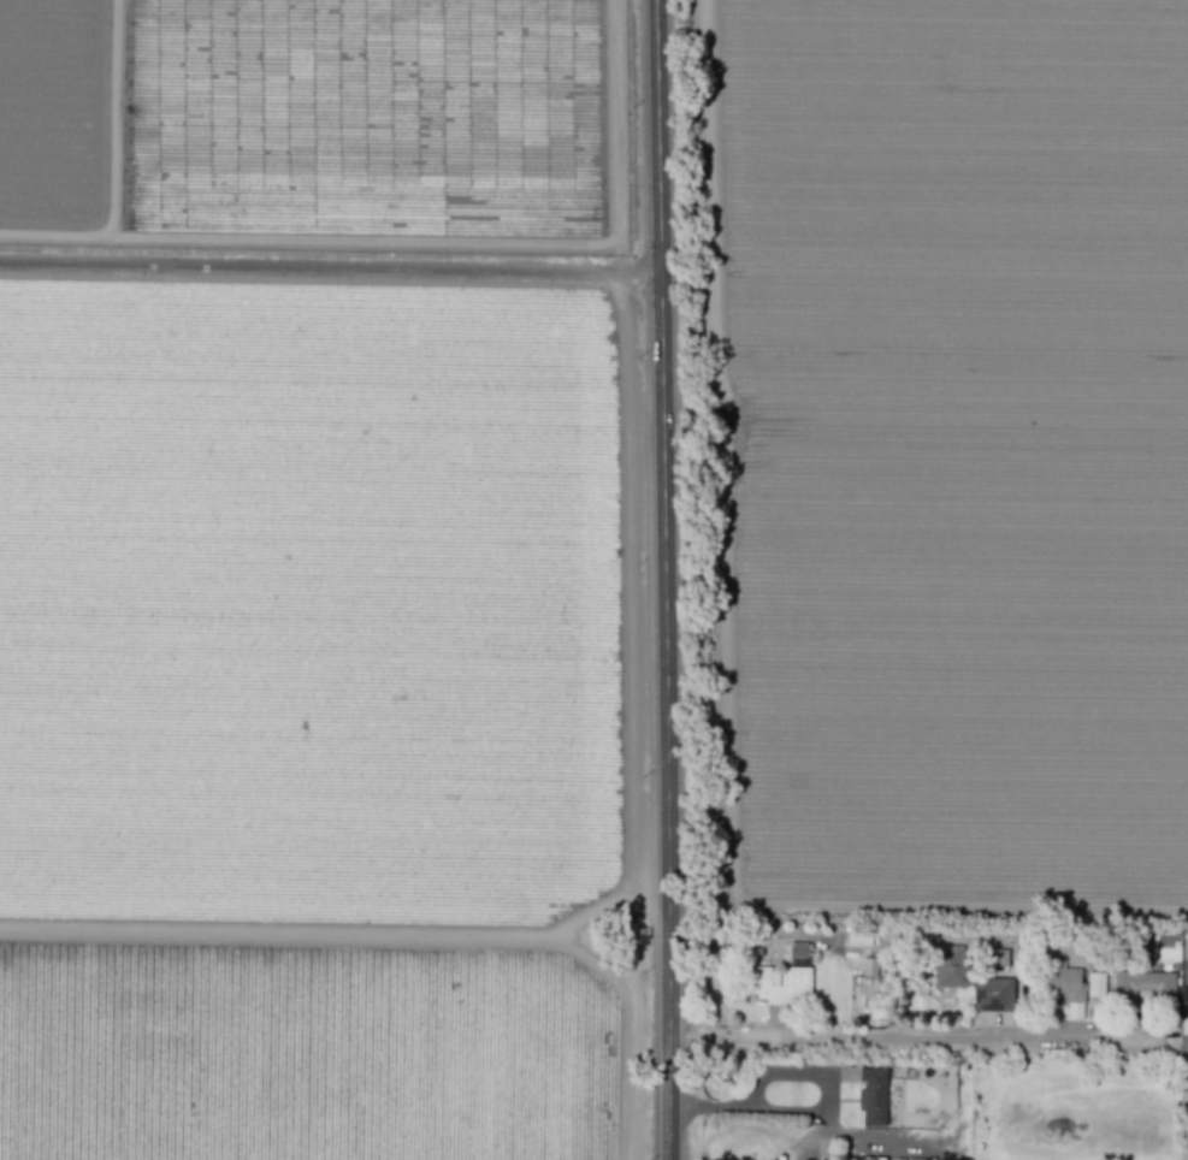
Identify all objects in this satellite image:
road: (330, 266)
road: (663, 579)
building: (858, 935)
building: (797, 949)
building: (995, 957)
building: (950, 966)
building: (780, 984)
building: (1095, 984)
building: (1142, 984)
building: (1065, 987)
building: (992, 994)
road: (917, 1040)
building: (873, 1093)
road: (808, 1107)
road: (881, 1138)
building: (912, 1159)

